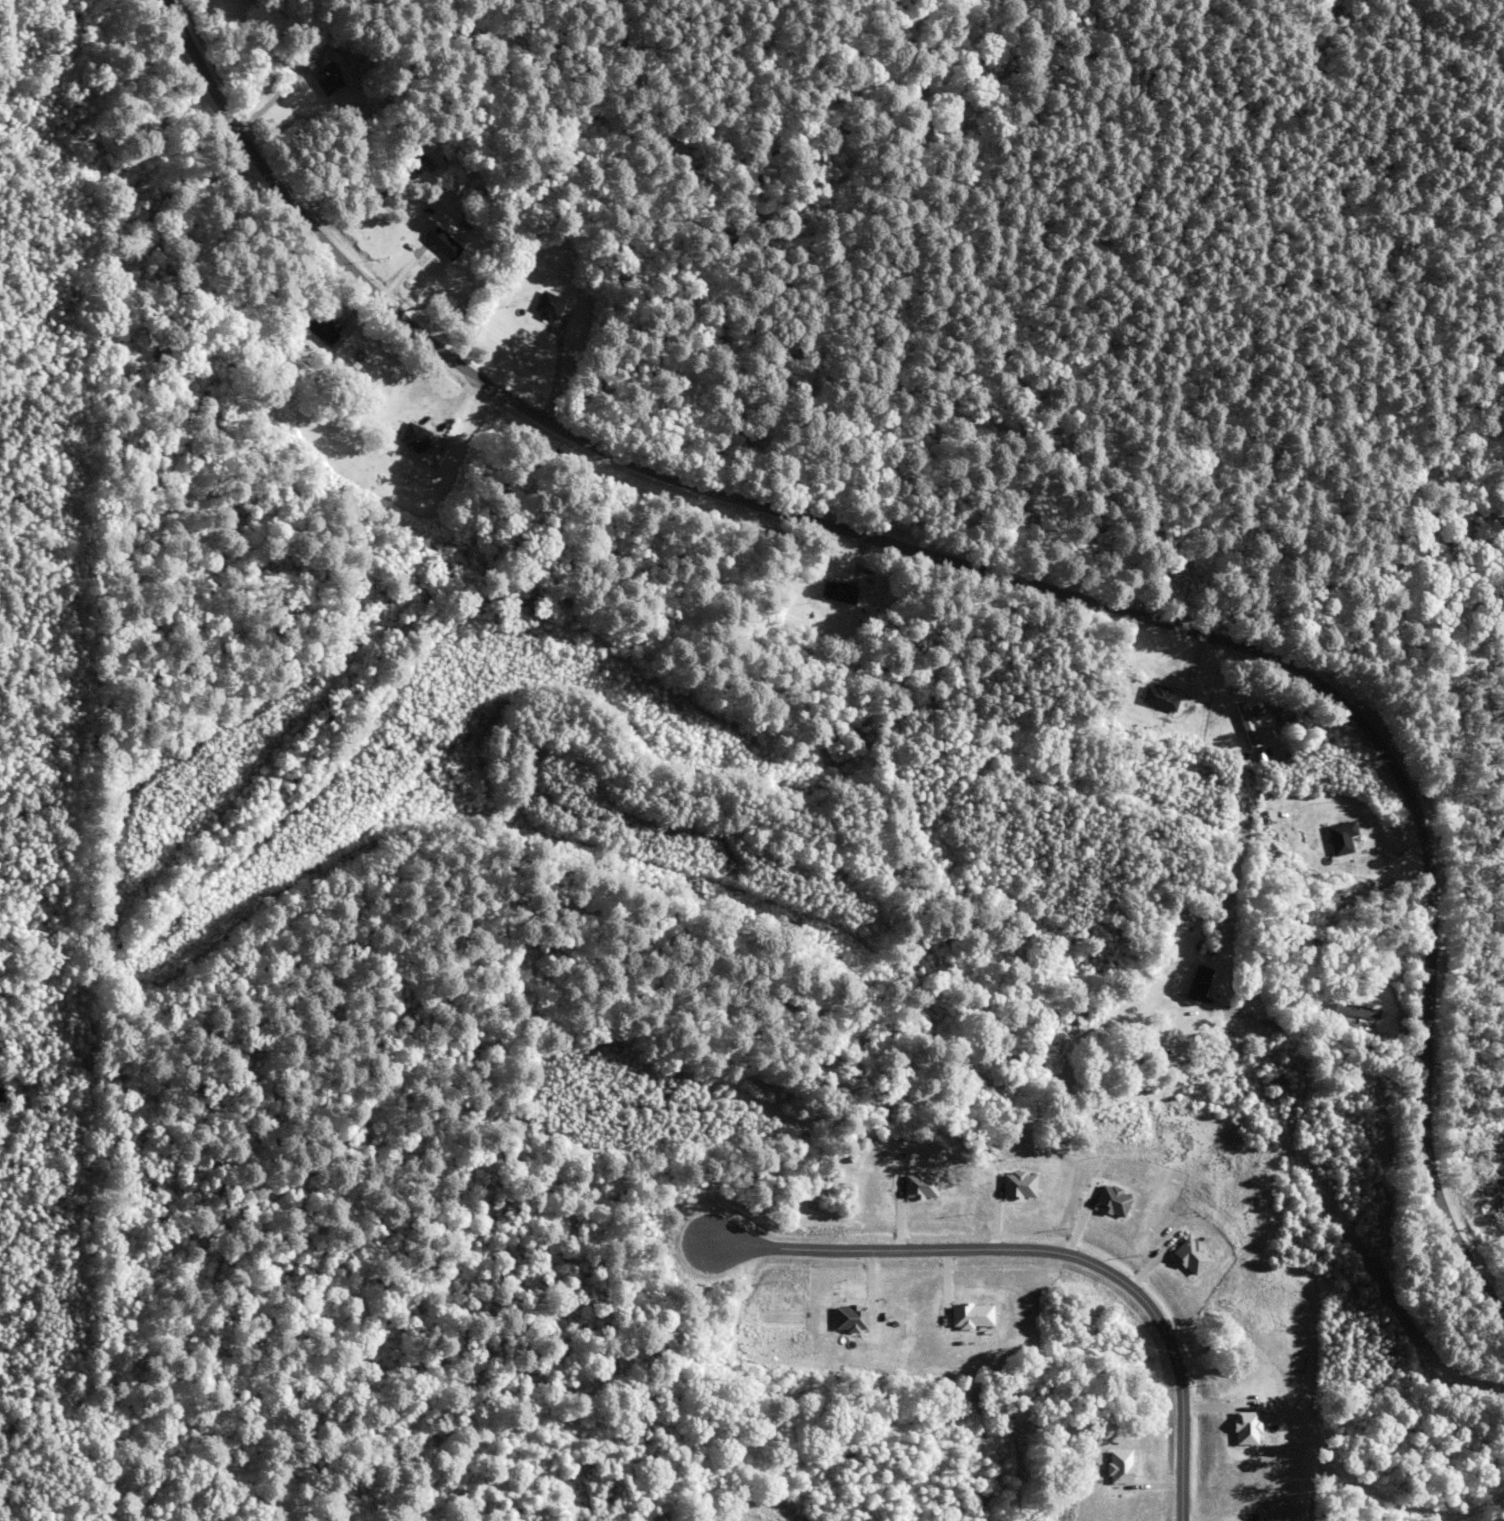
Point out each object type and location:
building: (322, 77)
building: (411, 157)
building: (438, 243)
building: (548, 305)
building: (311, 328)
building: (411, 437)
road: (987, 551)
building: (833, 592)
building: (1167, 697)
building: (1256, 723)
building: (1305, 729)
building: (1345, 837)
building: (1191, 983)
road: (1363, 992)
building: (1351, 1010)
building: (1078, 1013)
building: (1028, 1064)
building: (916, 1187)
building: (1015, 1187)
building: (1110, 1203)
road: (1046, 1253)
building: (1190, 1258)
building: (968, 1316)
building: (848, 1321)
building: (1246, 1430)
building: (1119, 1468)

